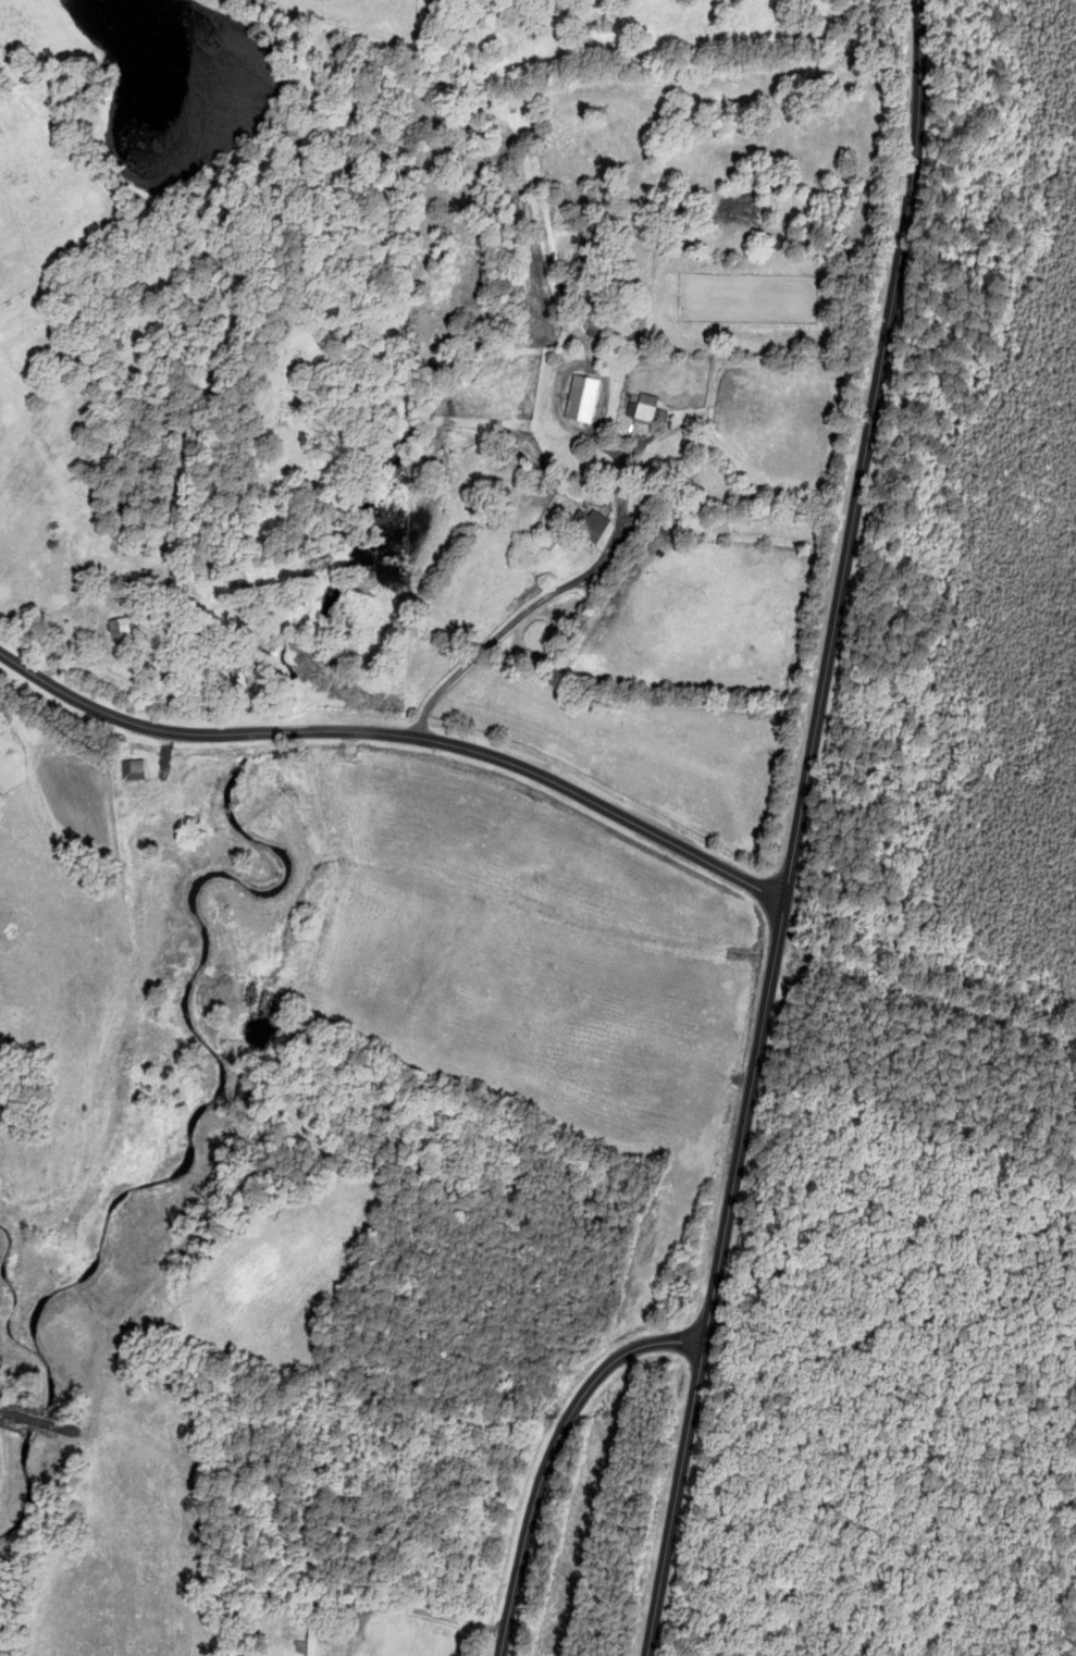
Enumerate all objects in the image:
building: (580, 399)
building: (644, 413)
building: (588, 526)
building: (138, 584)
road: (535, 600)
building: (119, 628)
road: (400, 733)
building: (129, 769)
road: (797, 829)
road: (551, 1453)
building: (310, 1634)

